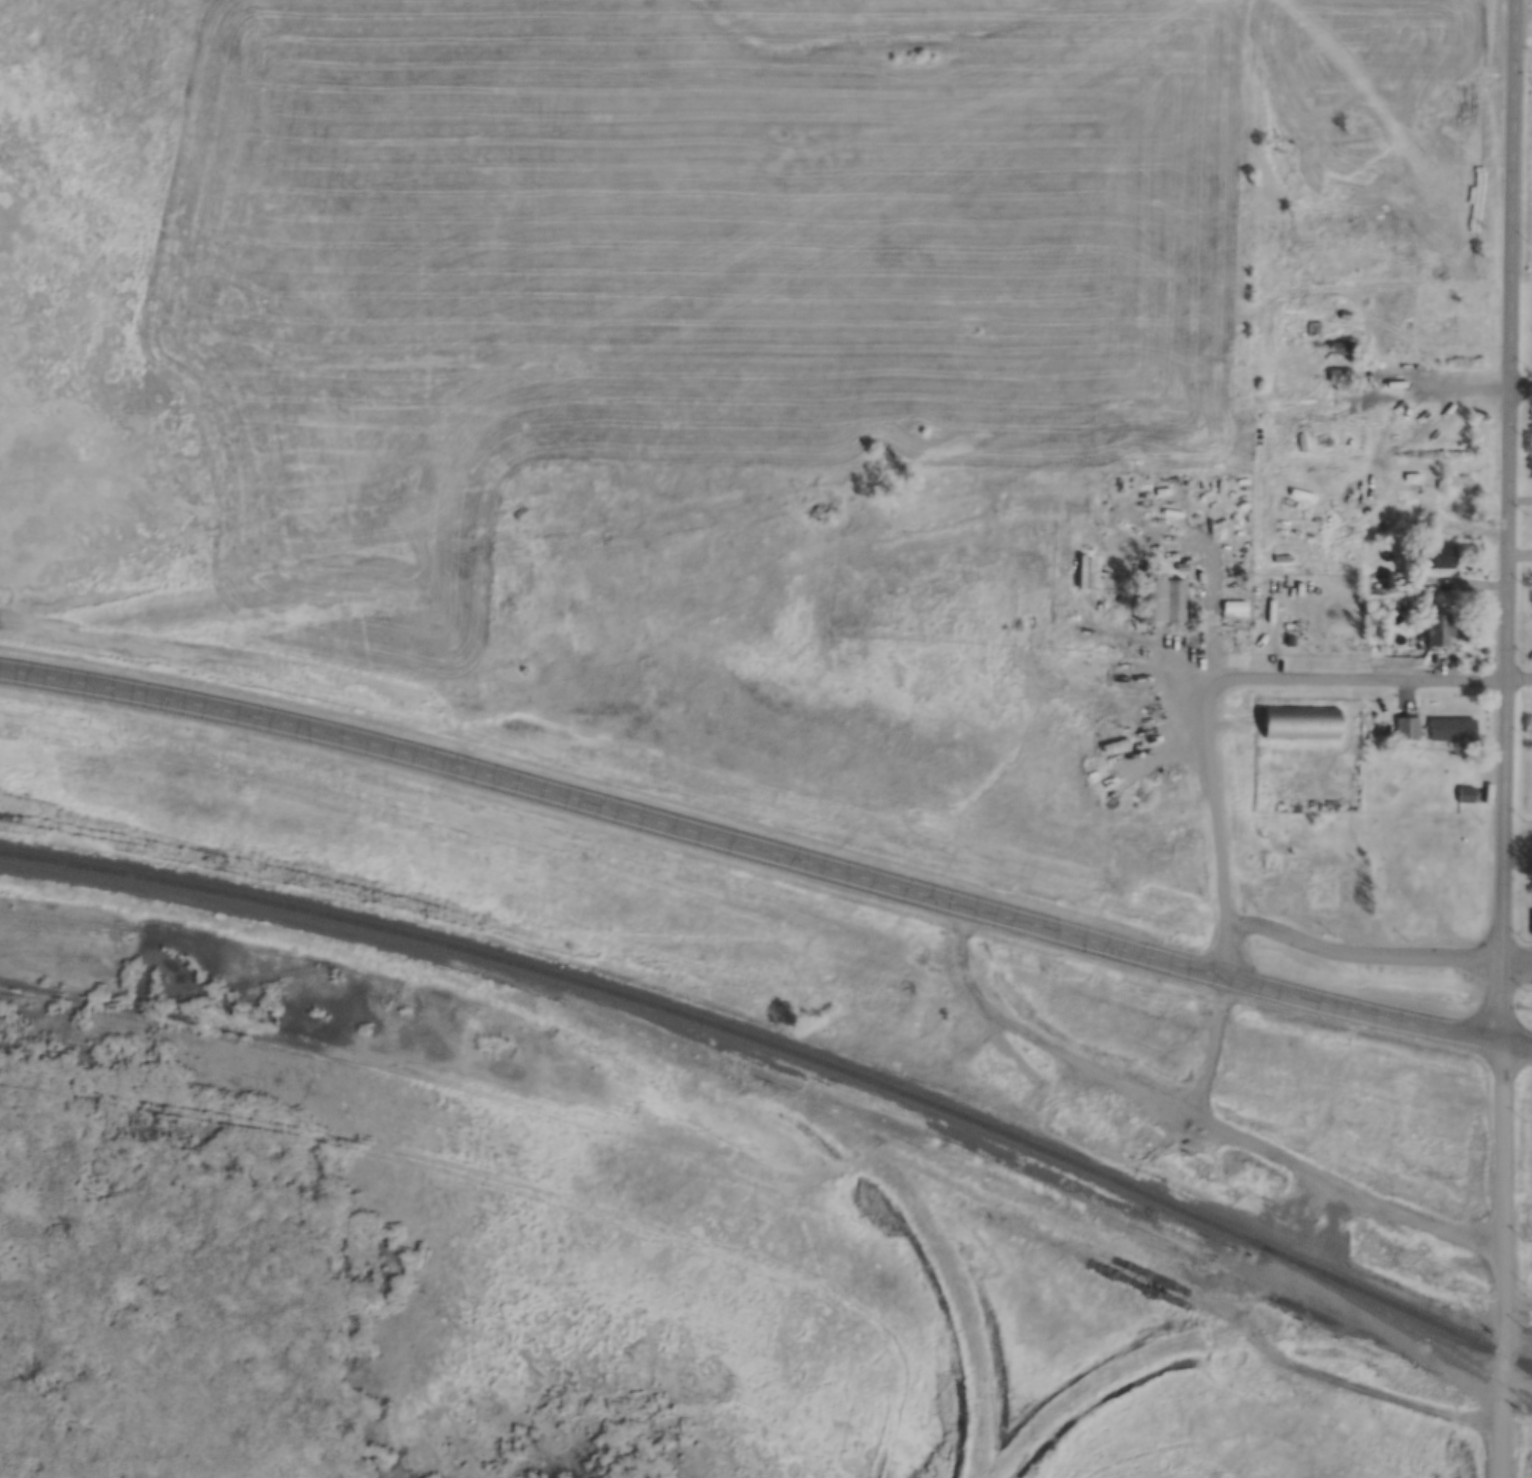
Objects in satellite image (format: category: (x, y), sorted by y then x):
building: (1314, 328)
building: (1341, 385)
road: (1470, 392)
road: (1520, 392)
building: (1415, 495)
building: (517, 509)
road: (1507, 520)
building: (1442, 555)
building: (1385, 579)
building: (1161, 600)
building: (1444, 628)
road: (1153, 643)
road: (1355, 681)
road: (1518, 682)
building: (1301, 721)
building: (1407, 727)
building: (1453, 728)
building: (1466, 793)
road: (1218, 836)
road: (767, 852)
road: (1366, 958)
road: (1517, 960)
railway: (785, 1046)
road: (1212, 1046)
railway: (785, 1079)
road: (1191, 1114)
road: (1091, 1115)
road: (1504, 1258)
railway: (1526, 1405)

